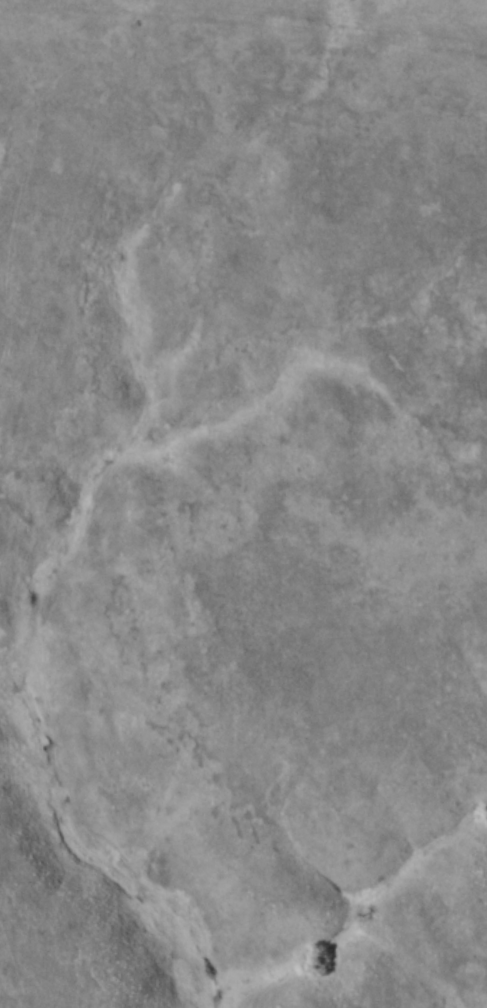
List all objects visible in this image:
road: (384, 13)

